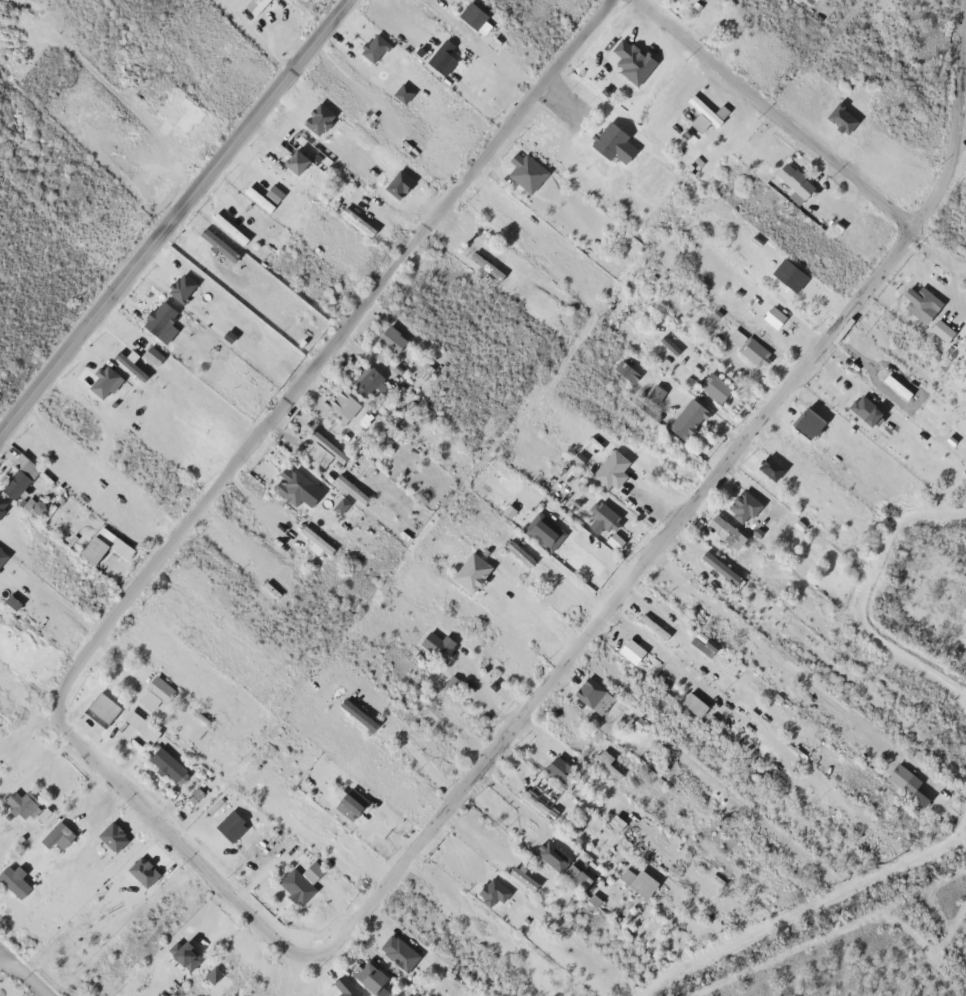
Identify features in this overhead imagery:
building: (251, 4)
building: (471, 12)
building: (371, 43)
building: (439, 53)
building: (628, 57)
building: (705, 106)
road: (778, 112)
building: (609, 138)
building: (292, 157)
building: (522, 167)
building: (791, 175)
road: (173, 217)
building: (354, 217)
road: (940, 245)
building: (482, 261)
building: (918, 299)
building: (630, 306)
building: (771, 312)
building: (157, 317)
building: (938, 326)
building: (388, 335)
building: (751, 348)
road: (330, 349)
building: (125, 361)
building: (623, 367)
building: (102, 375)
building: (362, 377)
building: (893, 382)
building: (712, 383)
building: (339, 402)
building: (862, 405)
building: (685, 414)
building: (319, 444)
building: (43, 452)
building: (609, 465)
building: (18, 473)
building: (289, 481)
building: (347, 484)
road: (692, 501)
building: (338, 502)
building: (739, 503)
building: (599, 513)
building: (540, 527)
building: (722, 527)
building: (312, 535)
building: (610, 536)
building: (517, 549)
building: (716, 563)
building: (695, 612)
building: (440, 643)
building: (634, 651)
building: (157, 685)
building: (590, 691)
building: (703, 713)
building: (603, 759)
building: (166, 763)
building: (554, 763)
building: (899, 774)
building: (347, 798)
building: (19, 799)
building: (534, 799)
building: (54, 833)
road: (176, 841)
building: (554, 858)
building: (520, 874)
building: (293, 882)
building: (488, 887)
building: (395, 947)
building: (184, 951)
road: (2, 959)
building: (367, 973)
road: (22, 974)
building: (209, 979)

